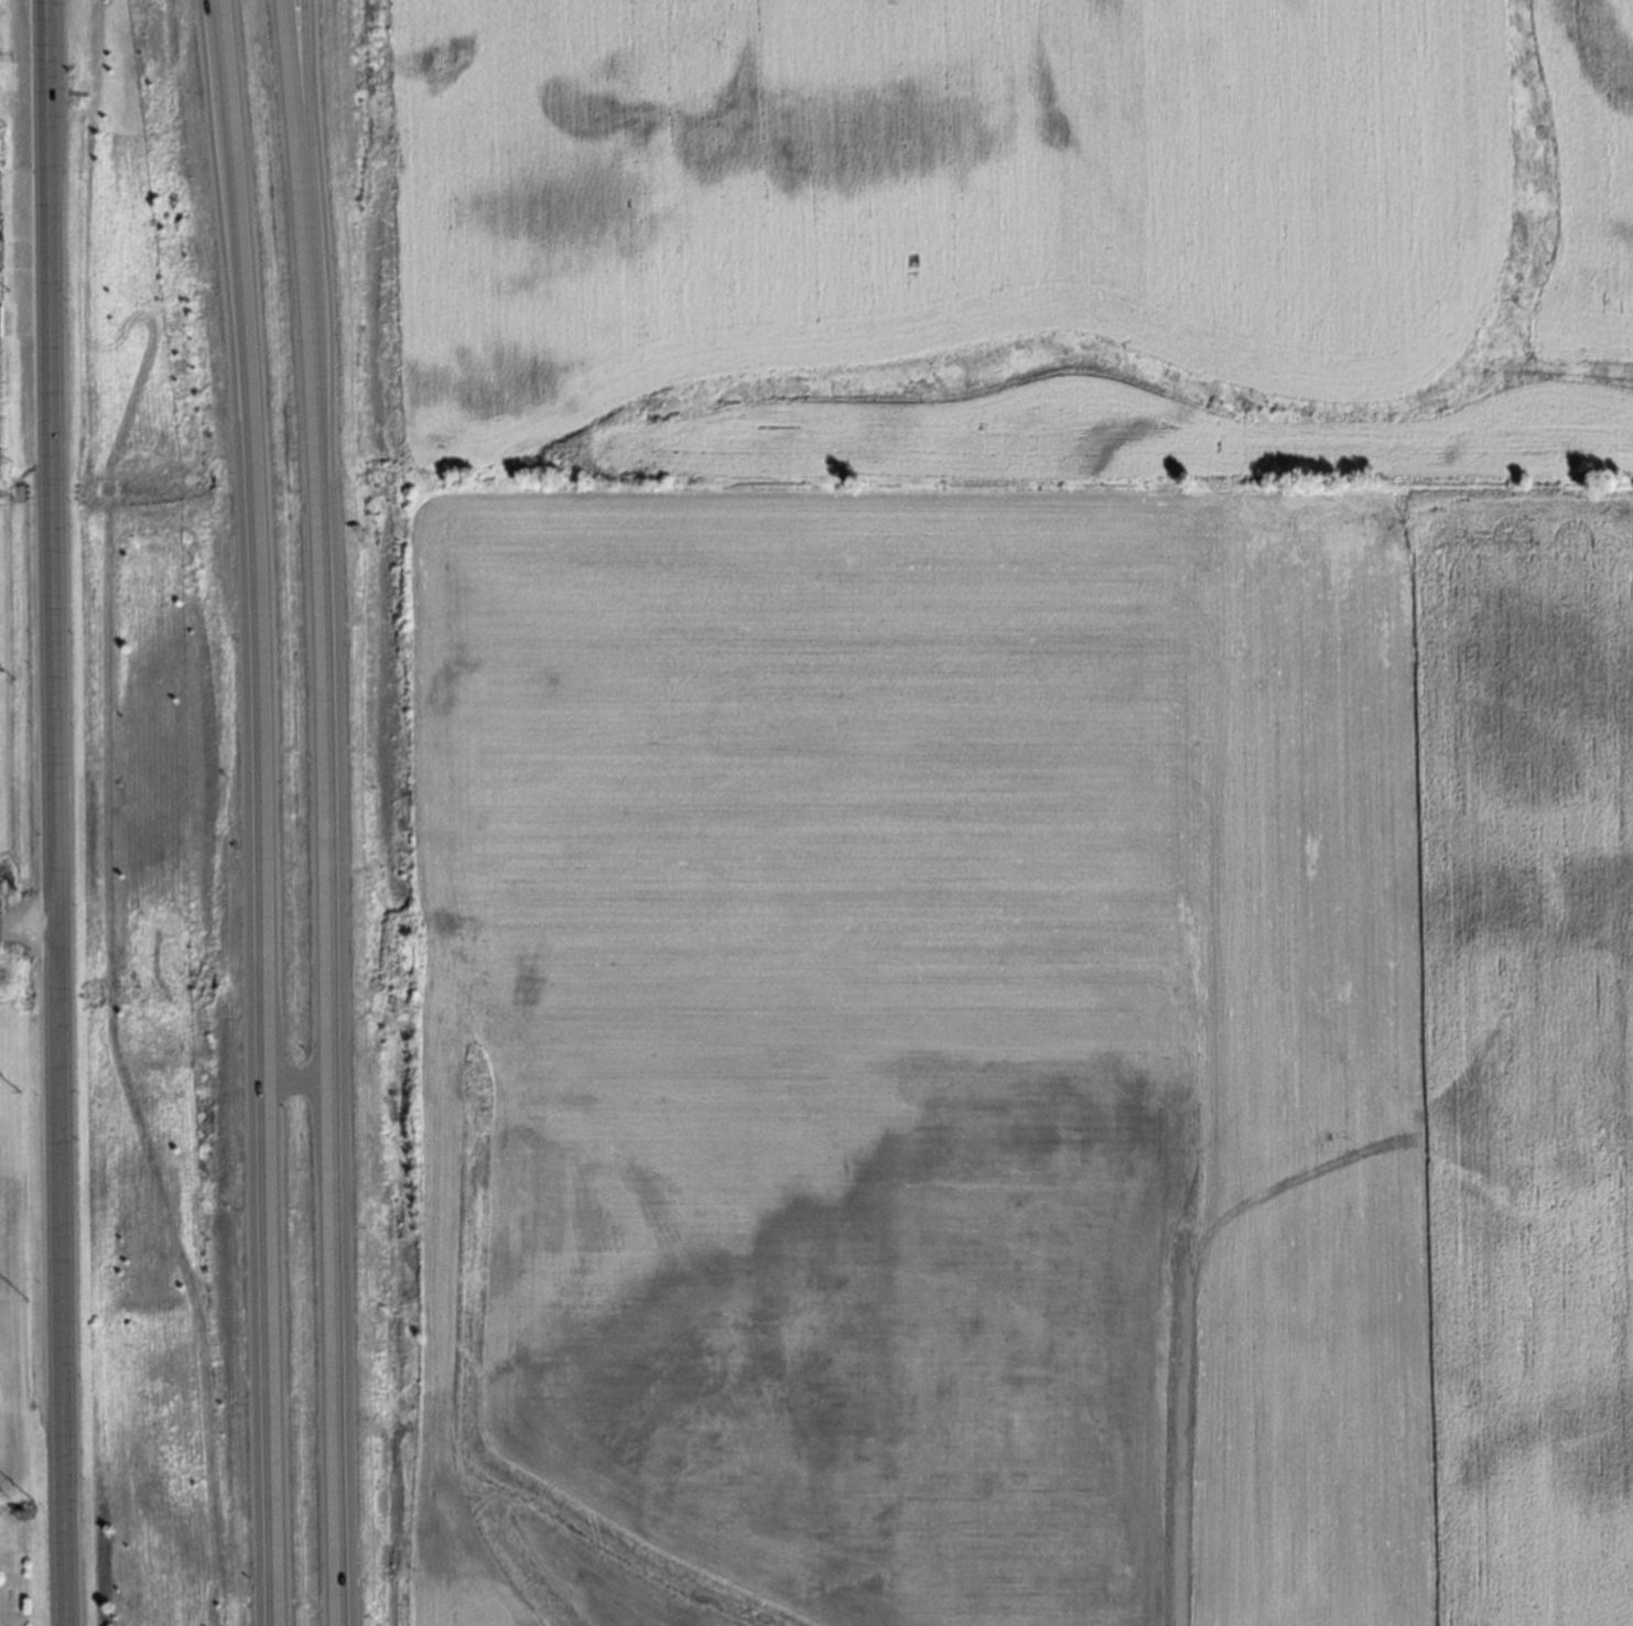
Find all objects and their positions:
road: (298, 34)
road: (24, 527)
road: (252, 812)
road: (325, 812)
road: (52, 813)

